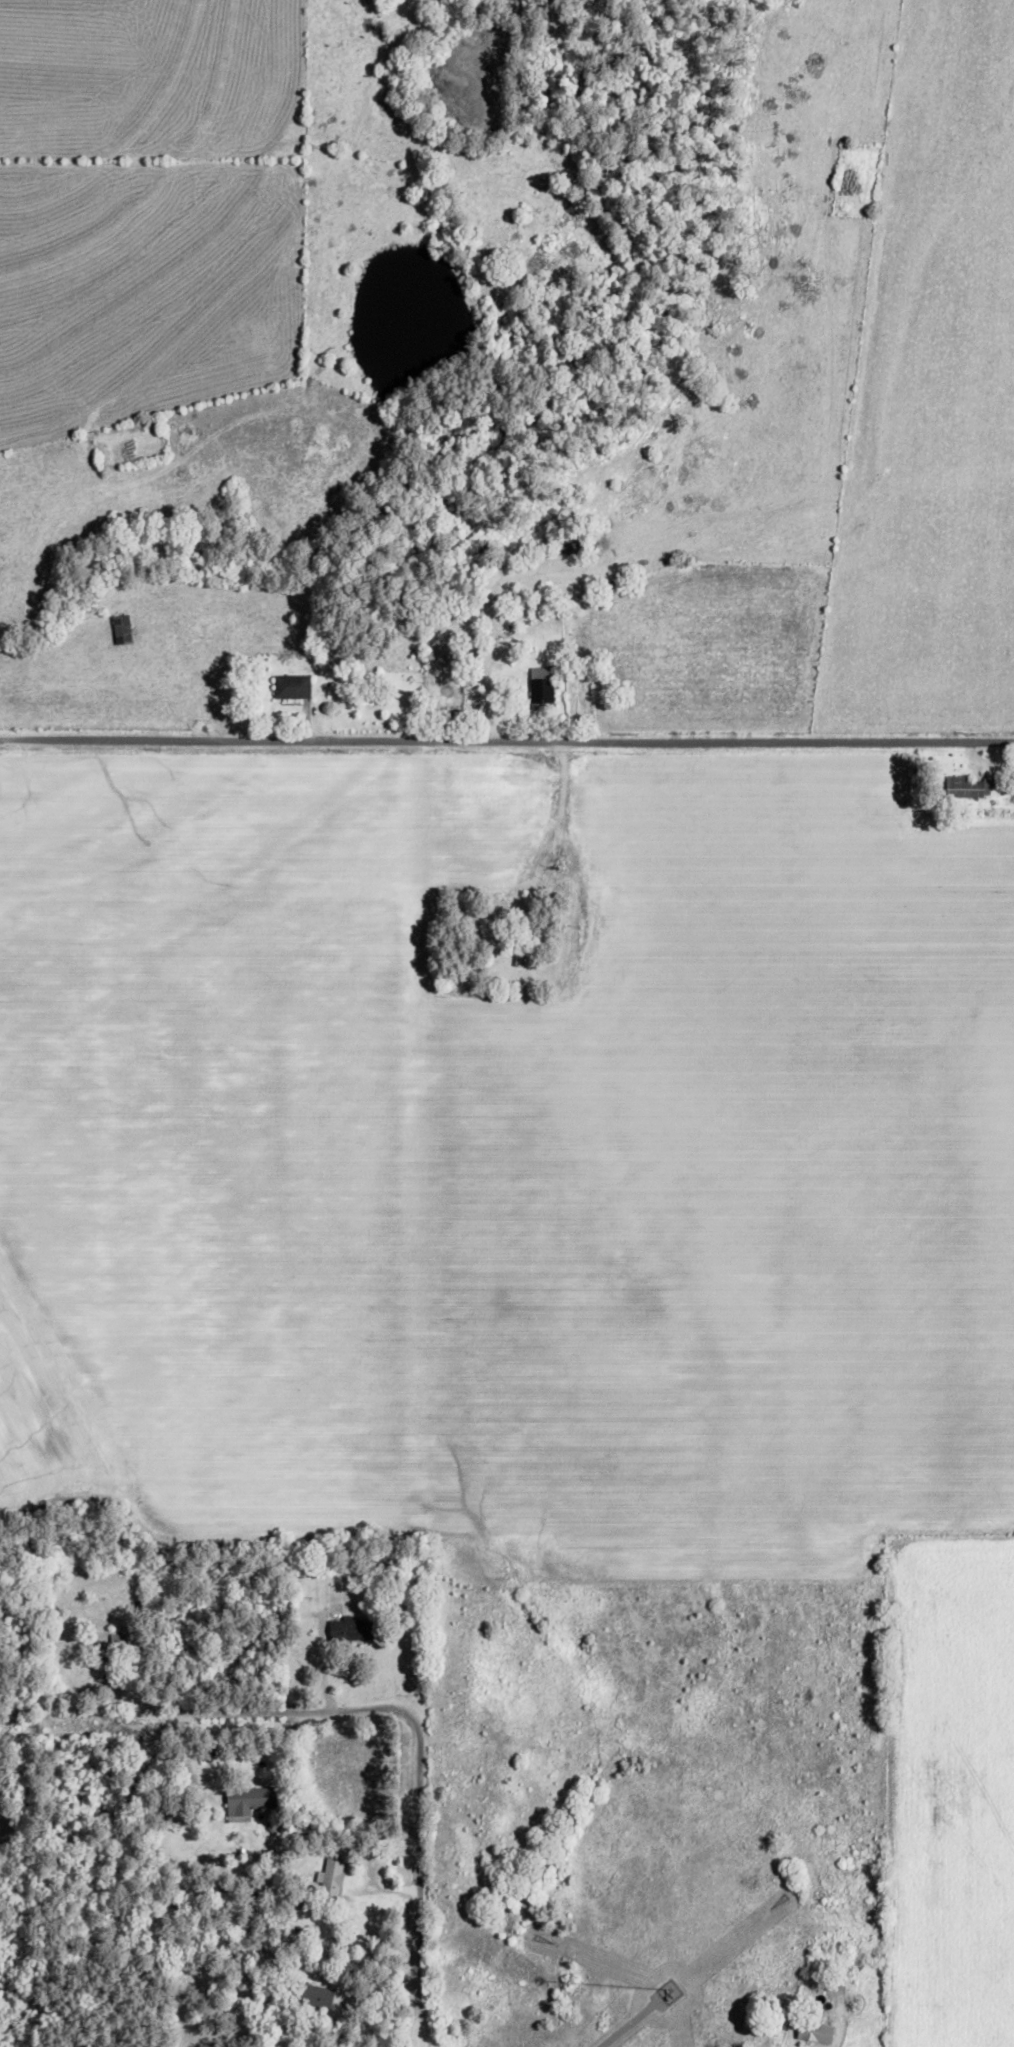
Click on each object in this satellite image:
building: (117, 632)
building: (287, 689)
building: (537, 695)
road: (507, 753)
building: (962, 790)
building: (513, 954)
building: (341, 1631)
road: (425, 1712)
building: (239, 1803)
building: (325, 1879)
building: (302, 1996)
building: (811, 2034)

